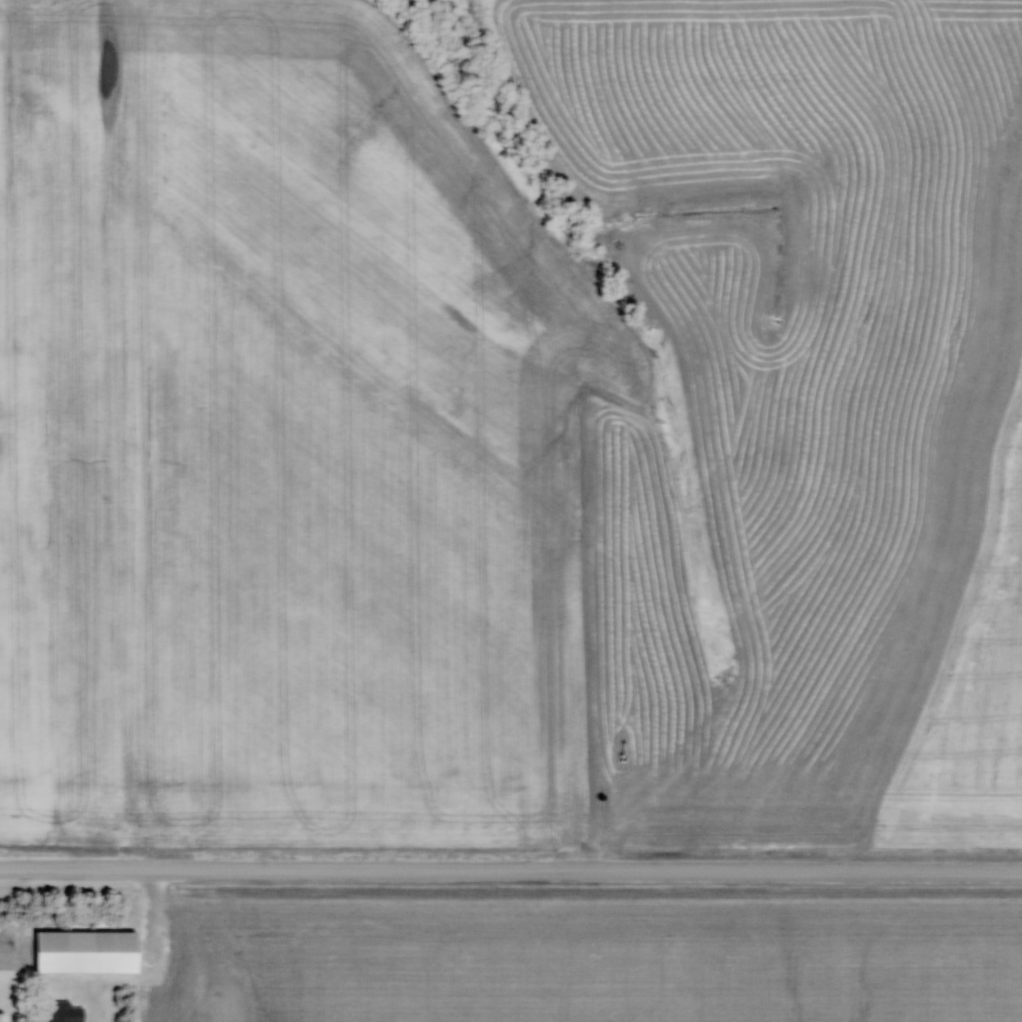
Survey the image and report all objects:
road: (511, 874)
building: (86, 952)
building: (63, 1012)

